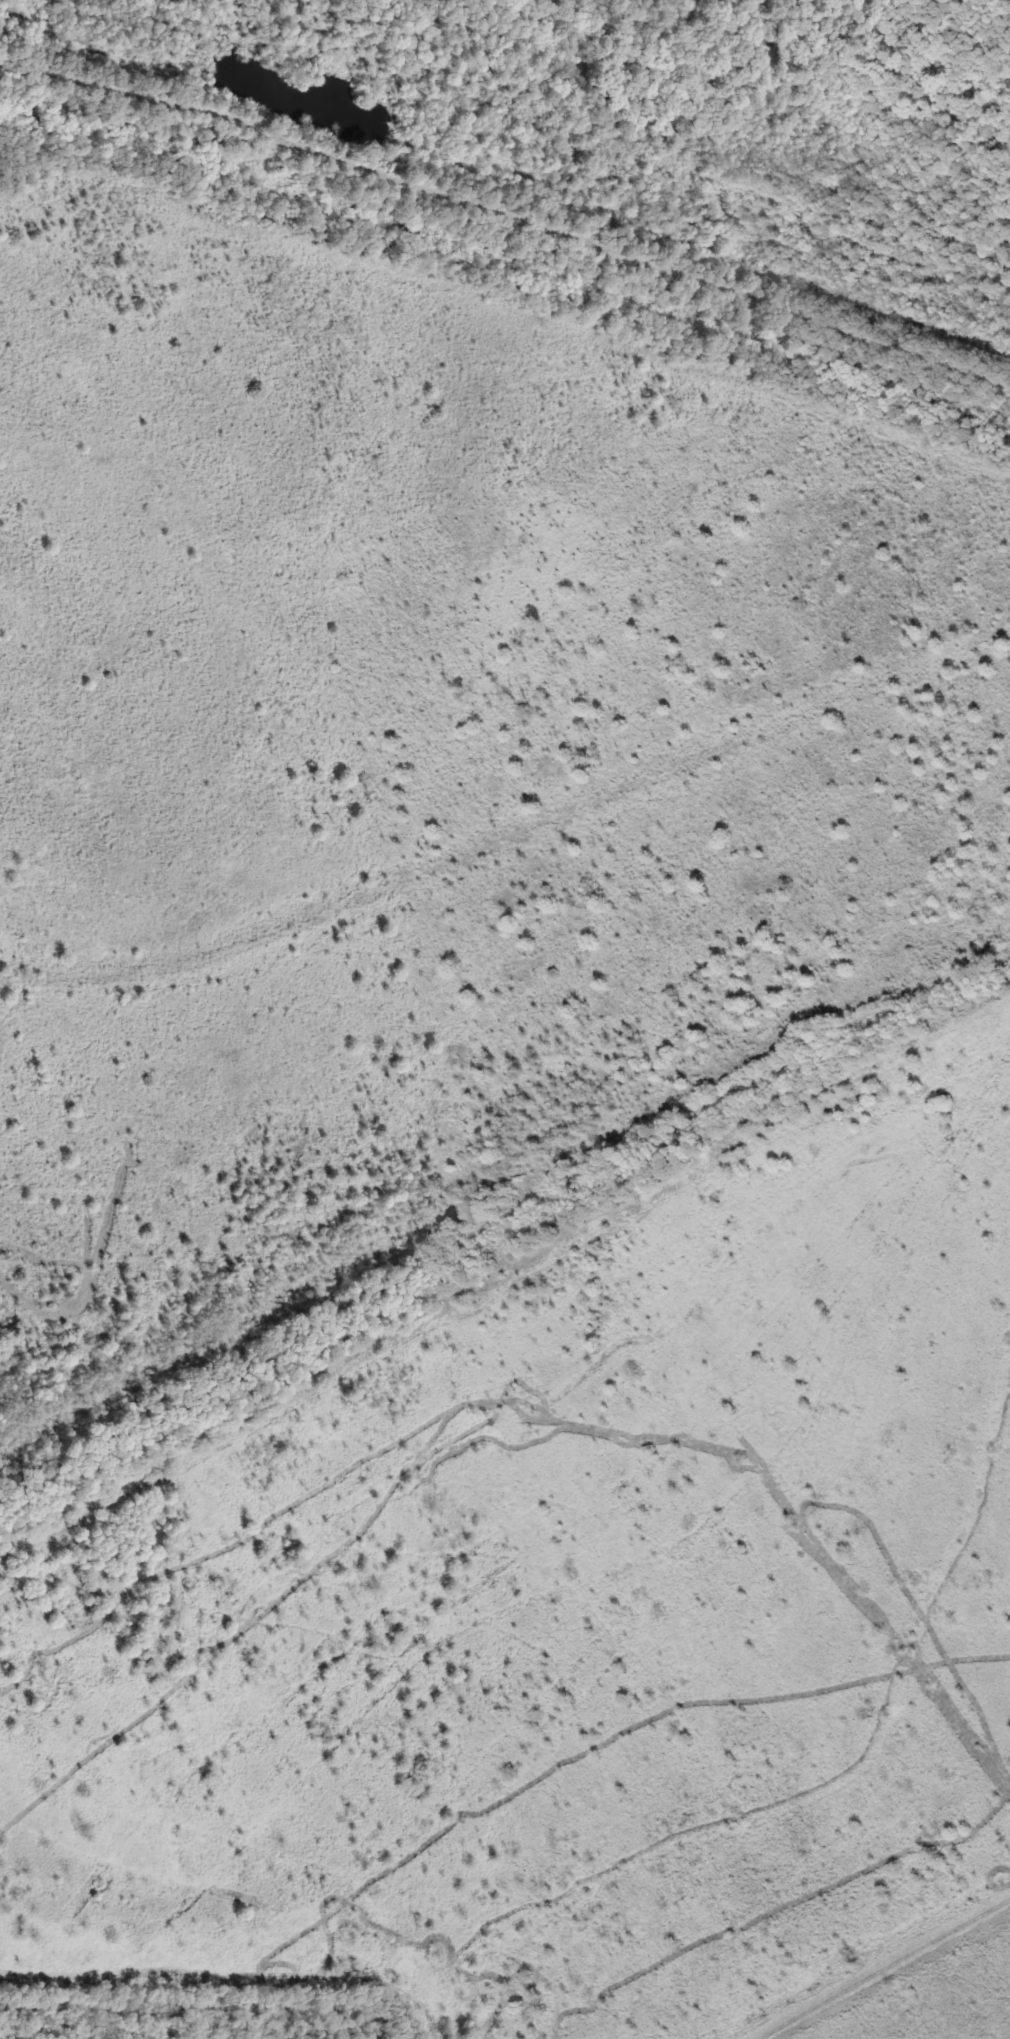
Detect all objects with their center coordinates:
road: (876, 1965)

